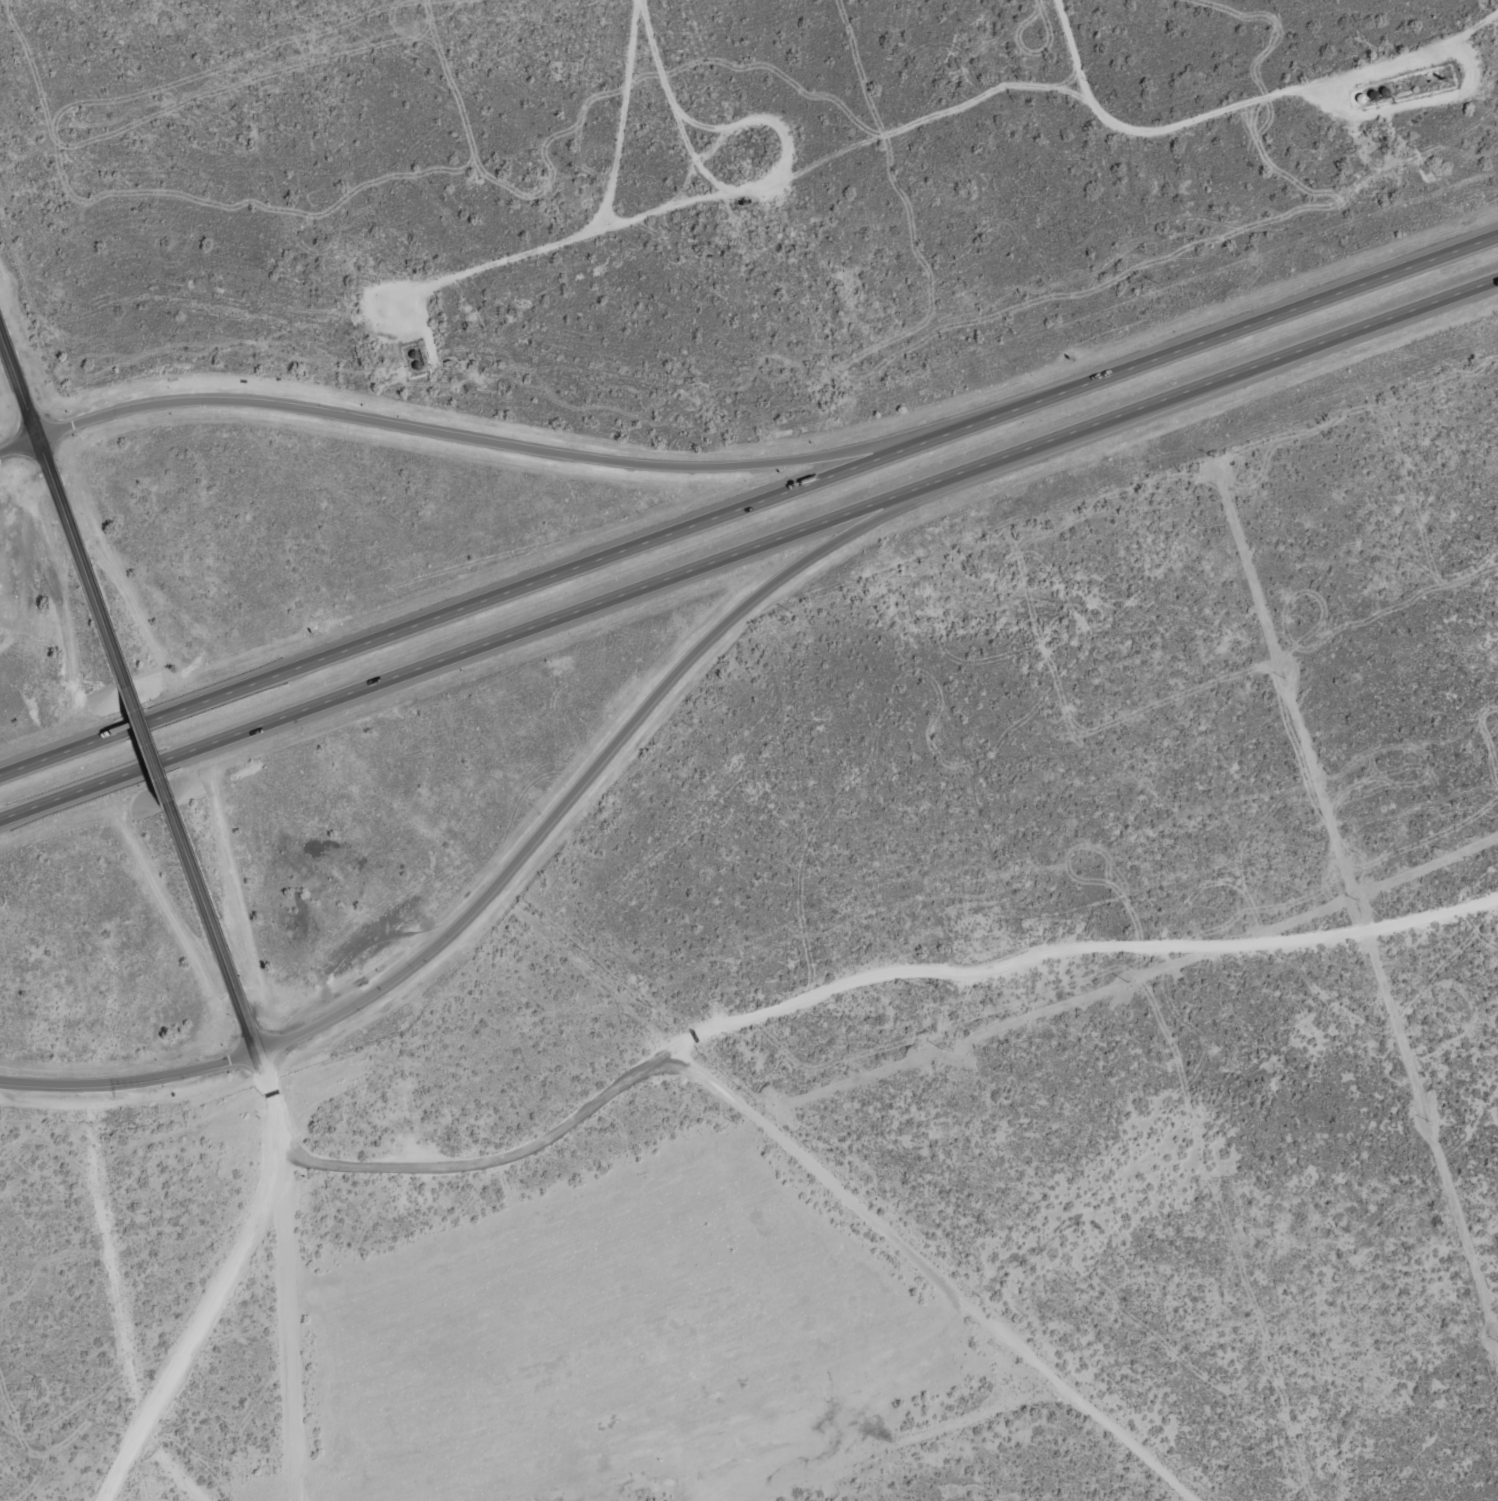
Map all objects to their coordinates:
road: (580, 121)
road: (1167, 137)
road: (422, 281)
road: (18, 440)
road: (18, 443)
road: (574, 455)
road: (749, 503)
road: (61, 508)
road: (765, 540)
road: (145, 742)
road: (610, 750)
road: (17, 811)
road: (212, 928)
road: (1078, 949)
road: (129, 1080)
road: (273, 1105)
road: (495, 1159)
road: (872, 1224)
road: (117, 1304)
road: (194, 1327)
road: (290, 1329)
road: (969, 1418)

